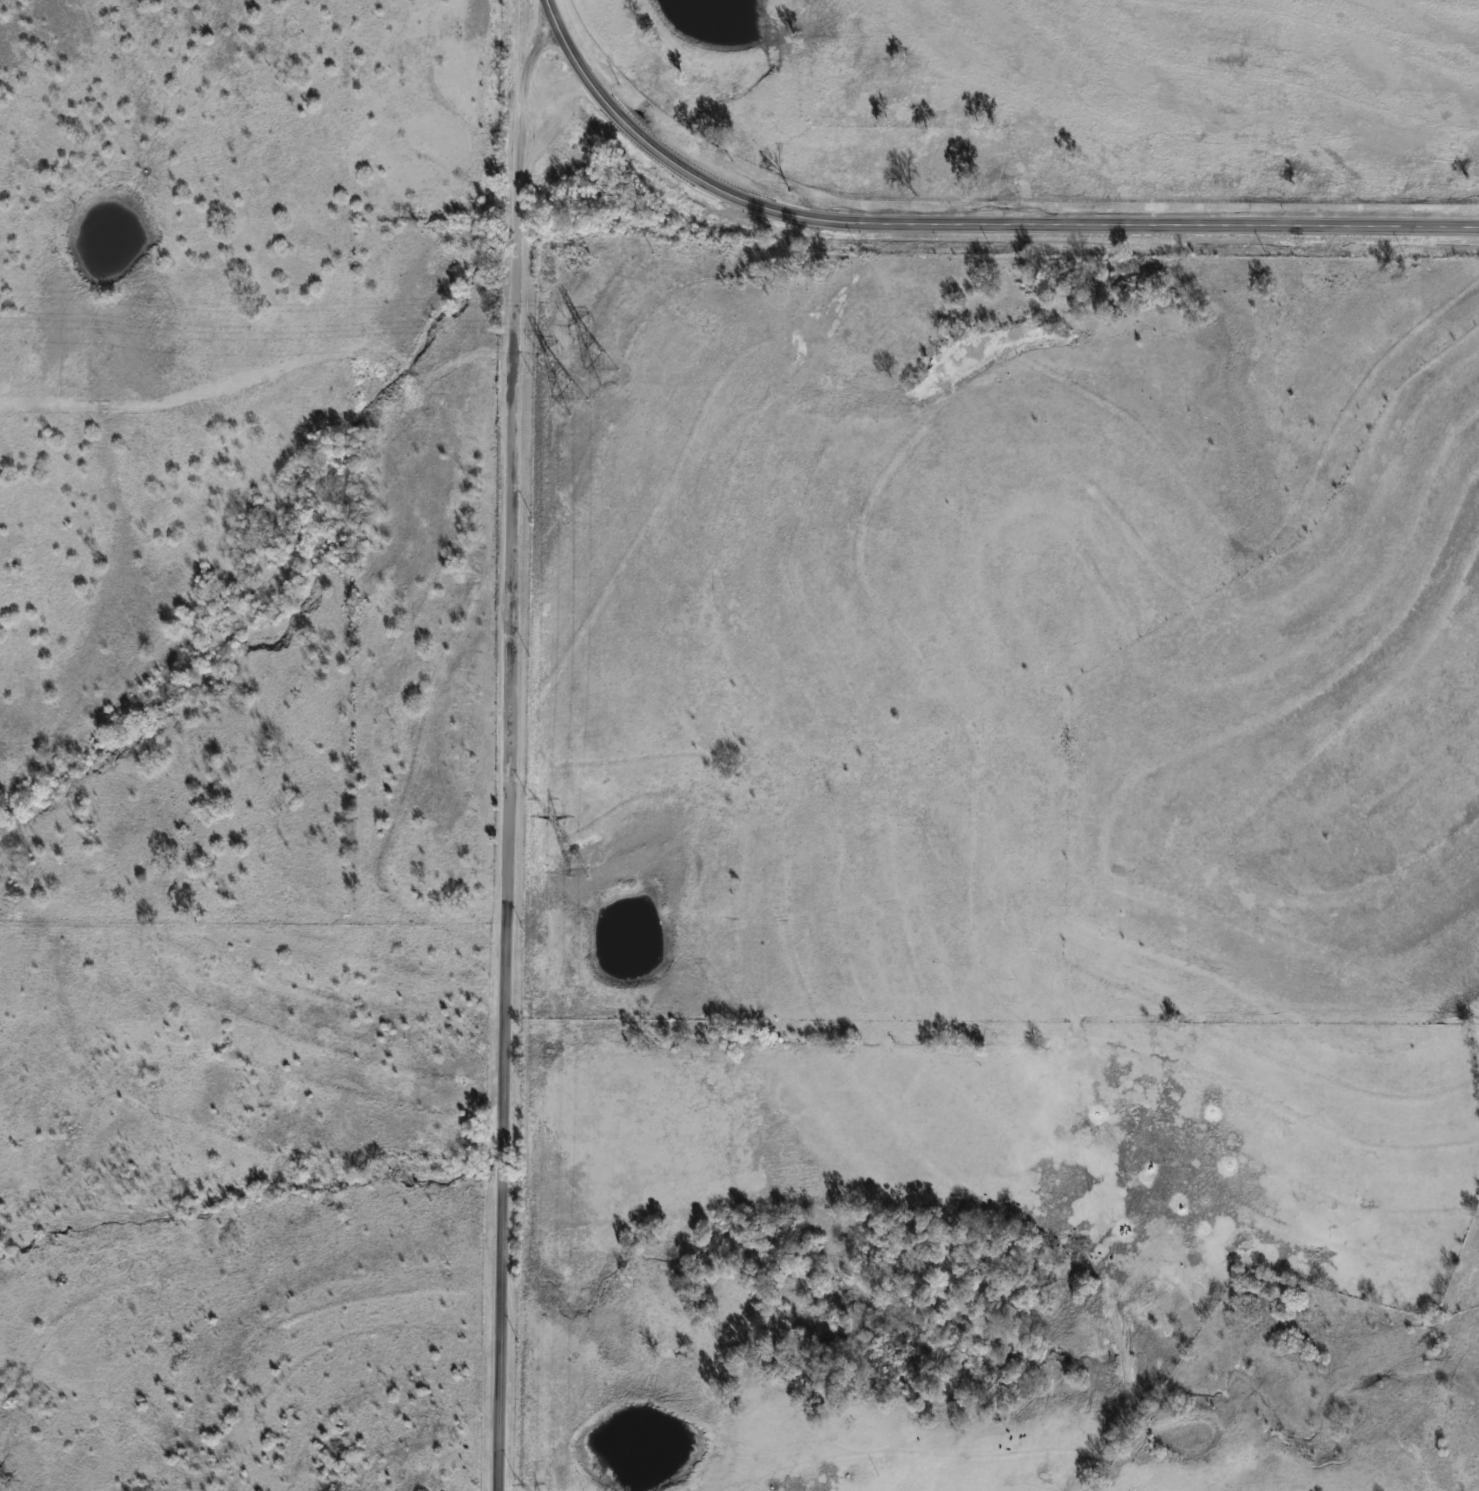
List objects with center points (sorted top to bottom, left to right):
road: (556, 25)
road: (992, 225)
power tower: (585, 383)
road: (509, 745)
power tower: (580, 873)

